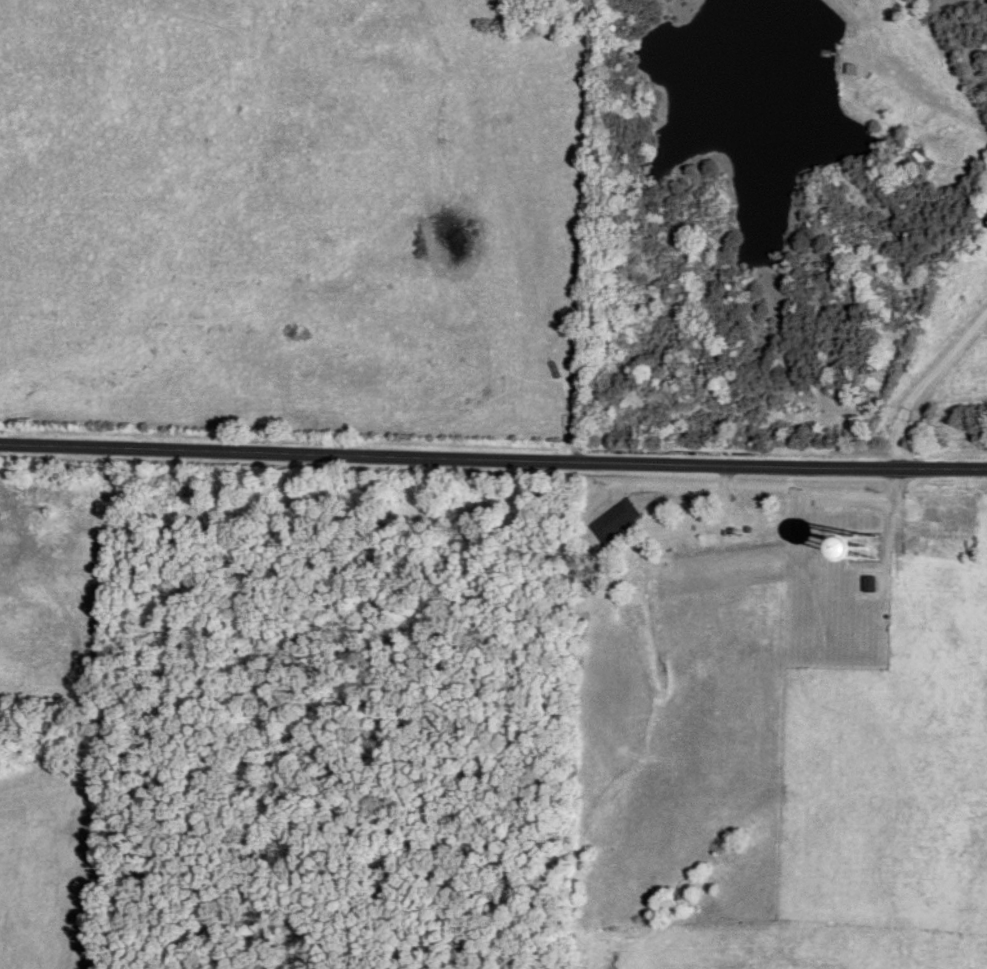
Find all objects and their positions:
building: (985, 219)
road: (928, 386)
building: (794, 416)
road: (493, 459)
building: (614, 521)
building: (946, 534)
building: (850, 550)
building: (869, 585)

